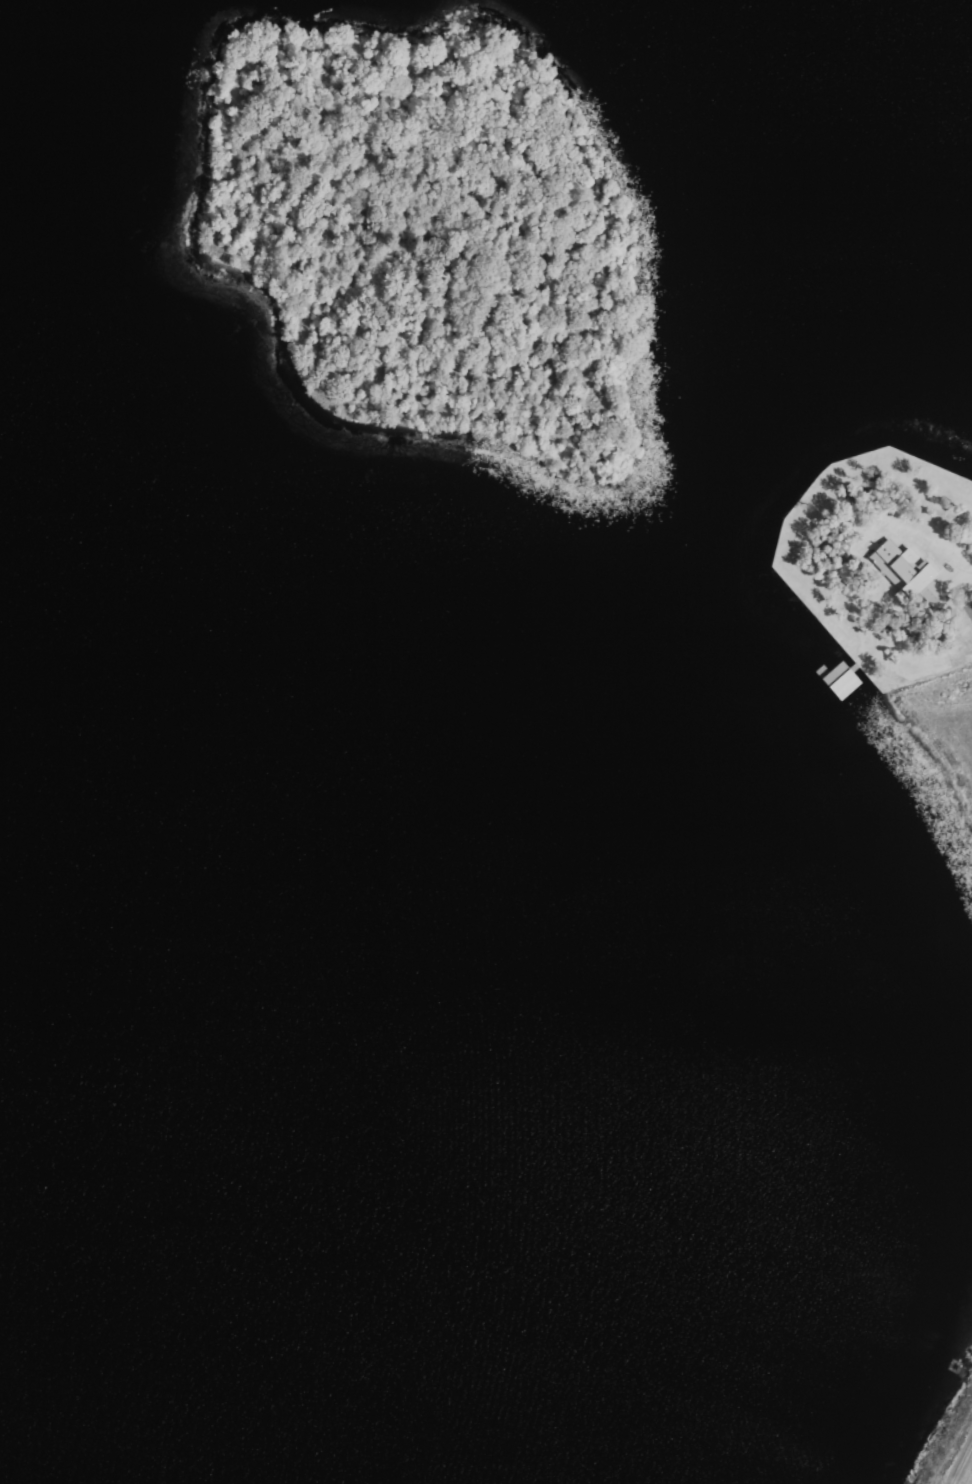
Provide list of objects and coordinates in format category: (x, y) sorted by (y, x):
building: (903, 574)
building: (838, 681)
dam: (967, 1475)

